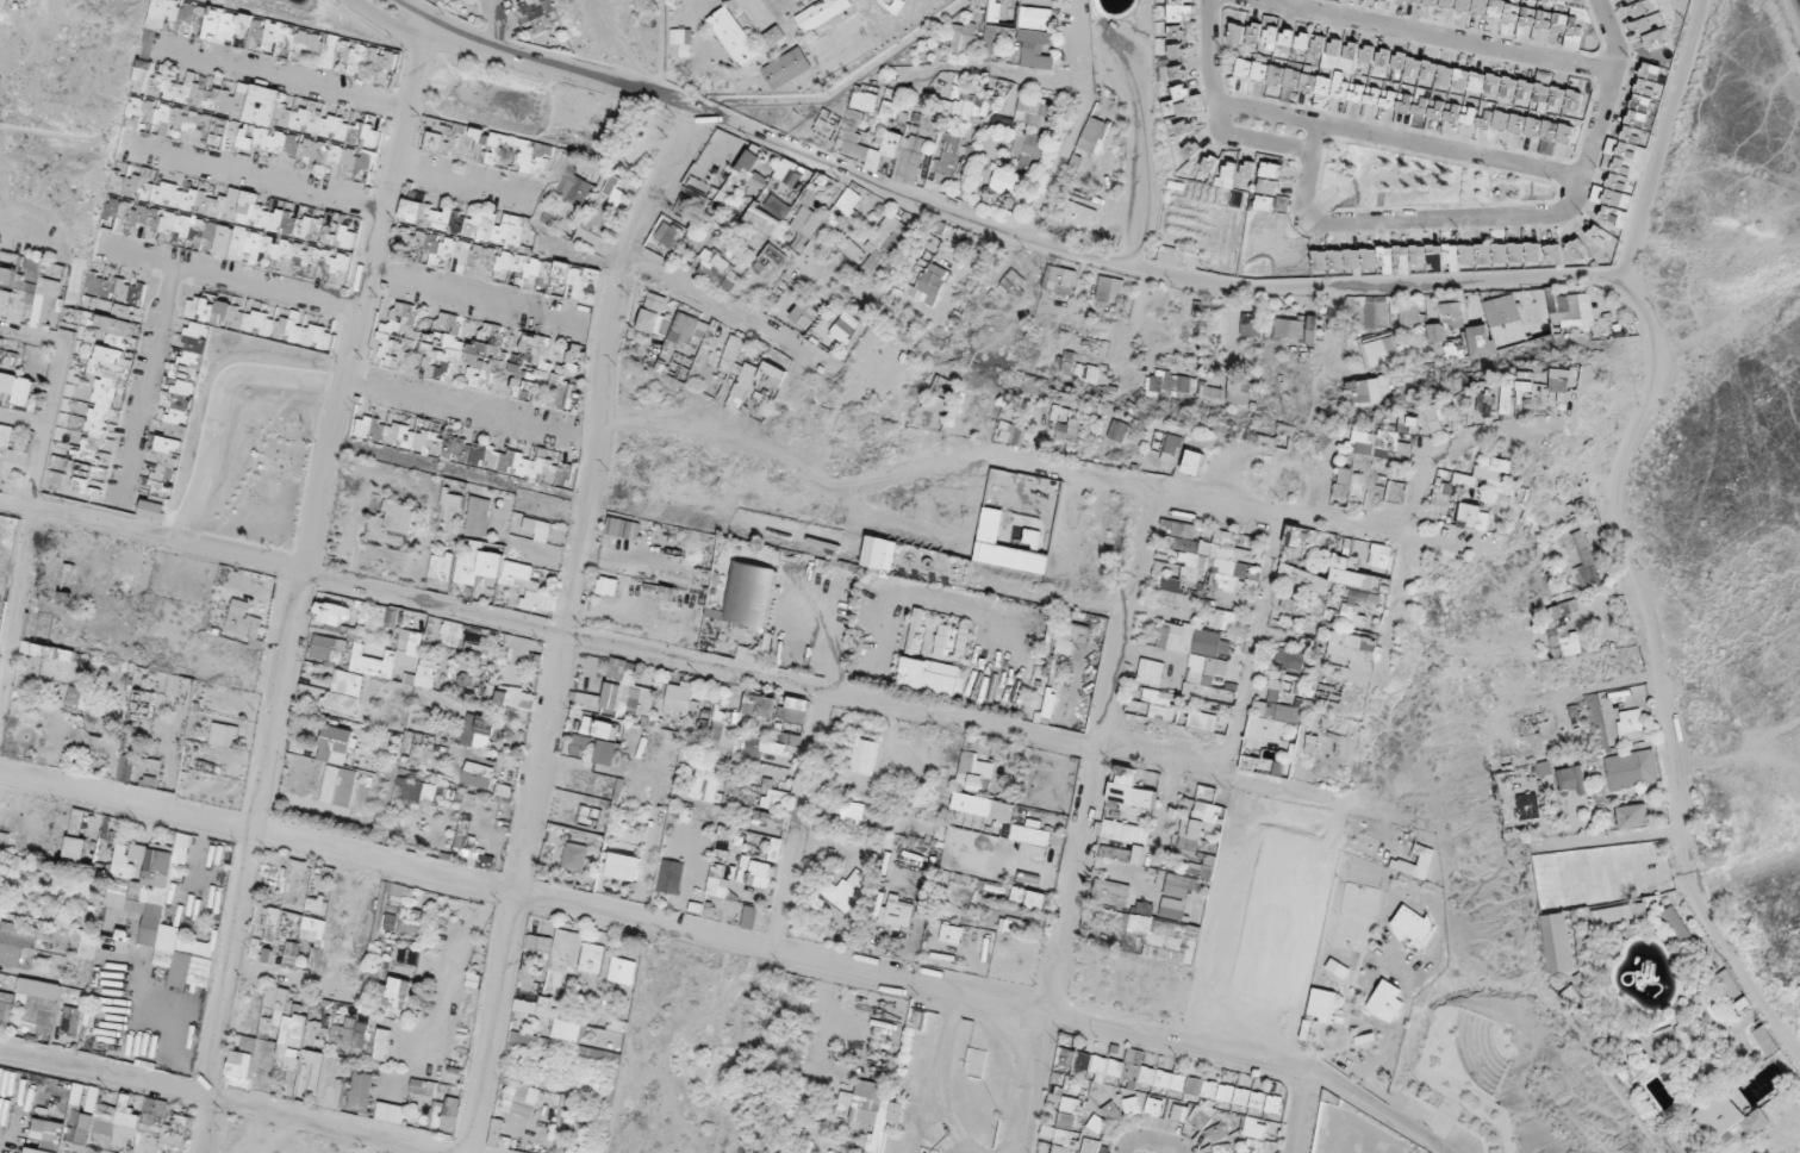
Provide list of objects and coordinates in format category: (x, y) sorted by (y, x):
water park: (1674, 1027)

